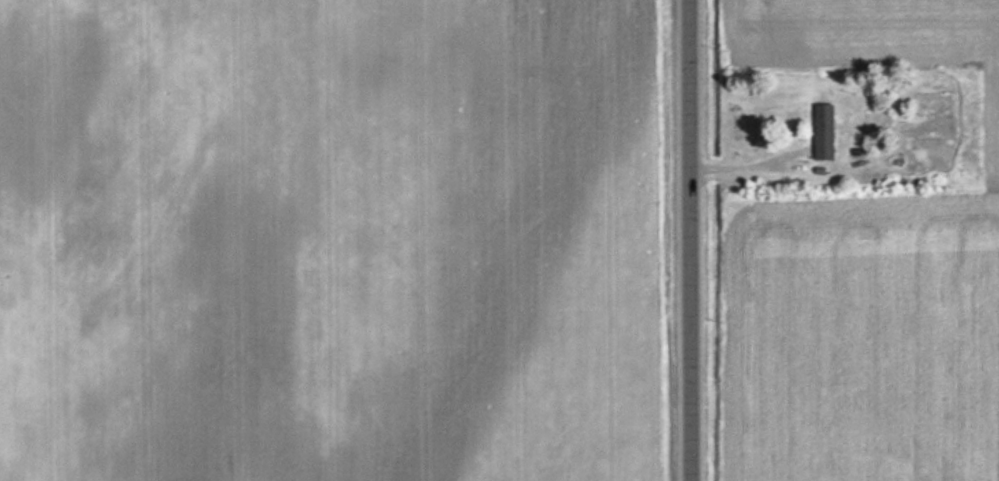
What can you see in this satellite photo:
building: (823, 131)
road: (691, 240)

